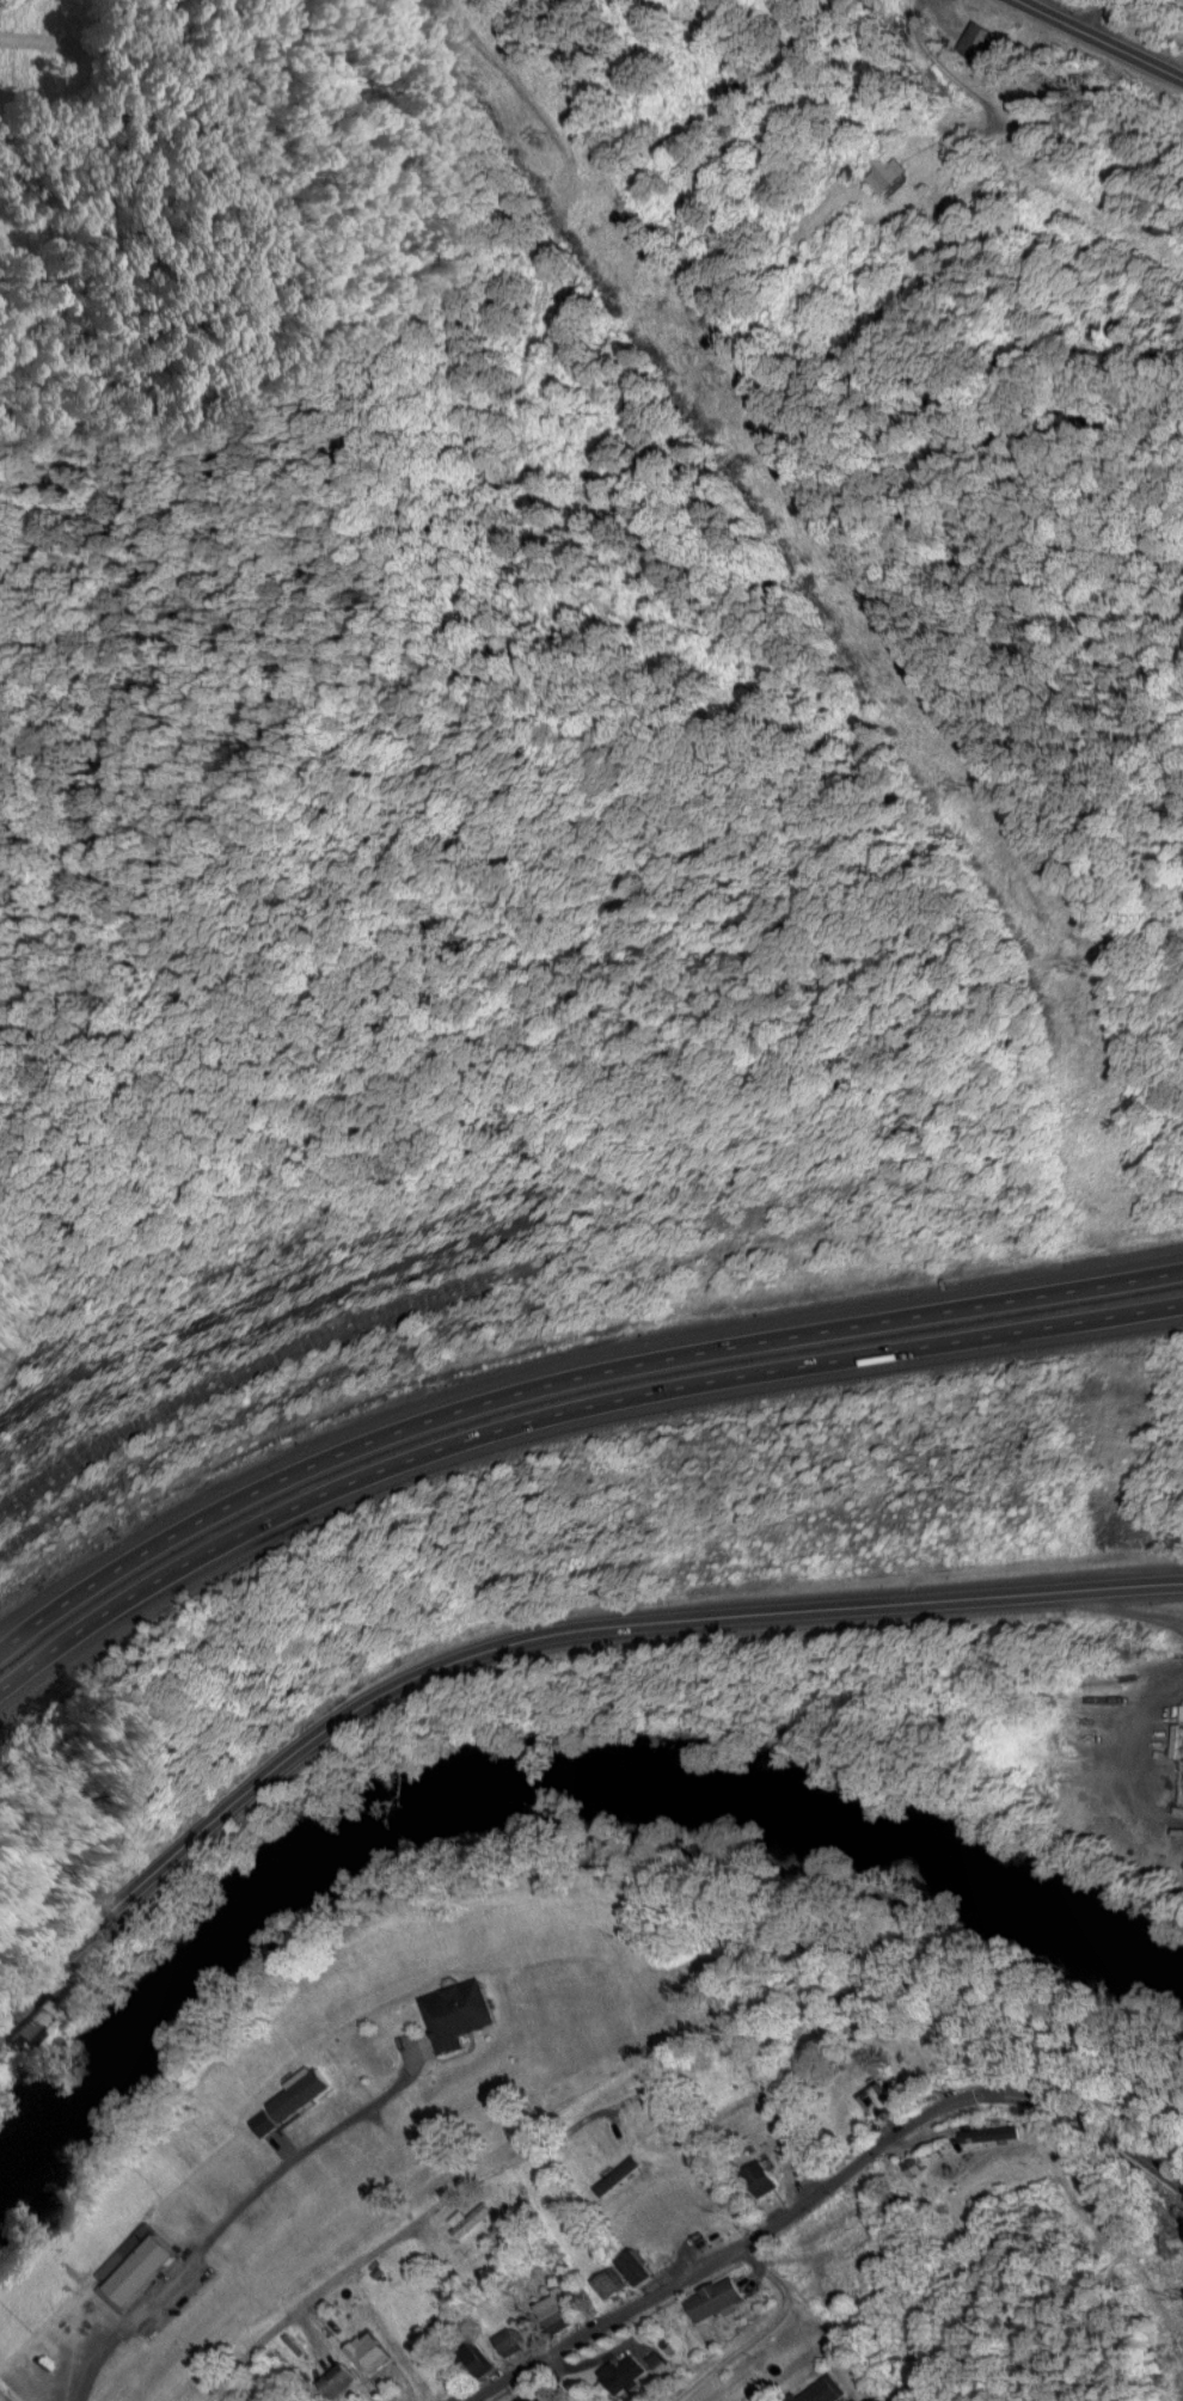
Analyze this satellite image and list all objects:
road: (1127, 12)
road: (1108, 36)
building: (979, 41)
building: (888, 172)
road: (562, 1373)
road: (560, 1415)
road: (531, 1639)
river: (541, 1781)
building: (461, 2011)
building: (31, 2022)
building: (879, 2099)
road: (1089, 2131)
building: (765, 2176)
building: (473, 2217)
road: (715, 2243)
building: (146, 2261)
building: (640, 2264)
building: (615, 2280)
road: (329, 2290)
building: (716, 2296)
building: (559, 2309)
building: (511, 2339)
road: (307, 2341)
building: (372, 2350)
building: (477, 2357)
building: (626, 2370)
building: (341, 2379)
building: (6, 2393)

